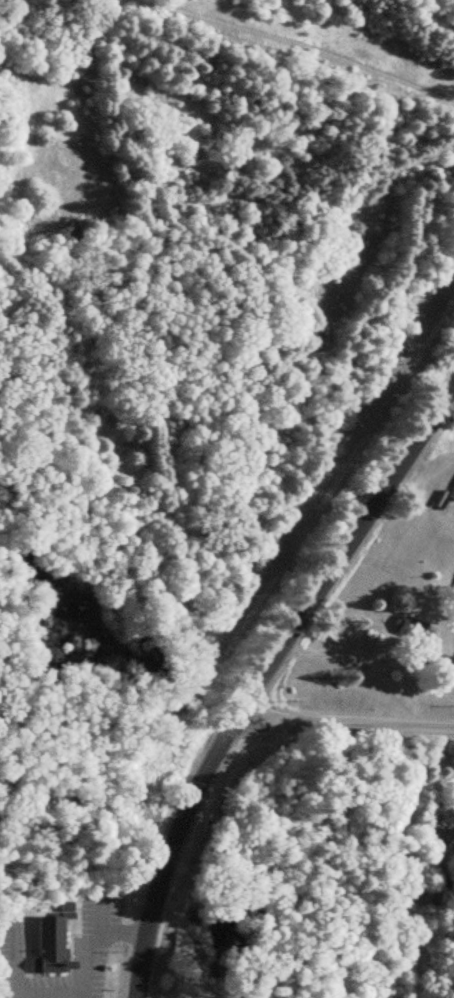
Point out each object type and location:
road: (289, 53)
building: (451, 492)
building: (434, 662)
road: (262, 677)
road: (343, 727)
road: (439, 747)
road: (90, 941)
building: (48, 943)

